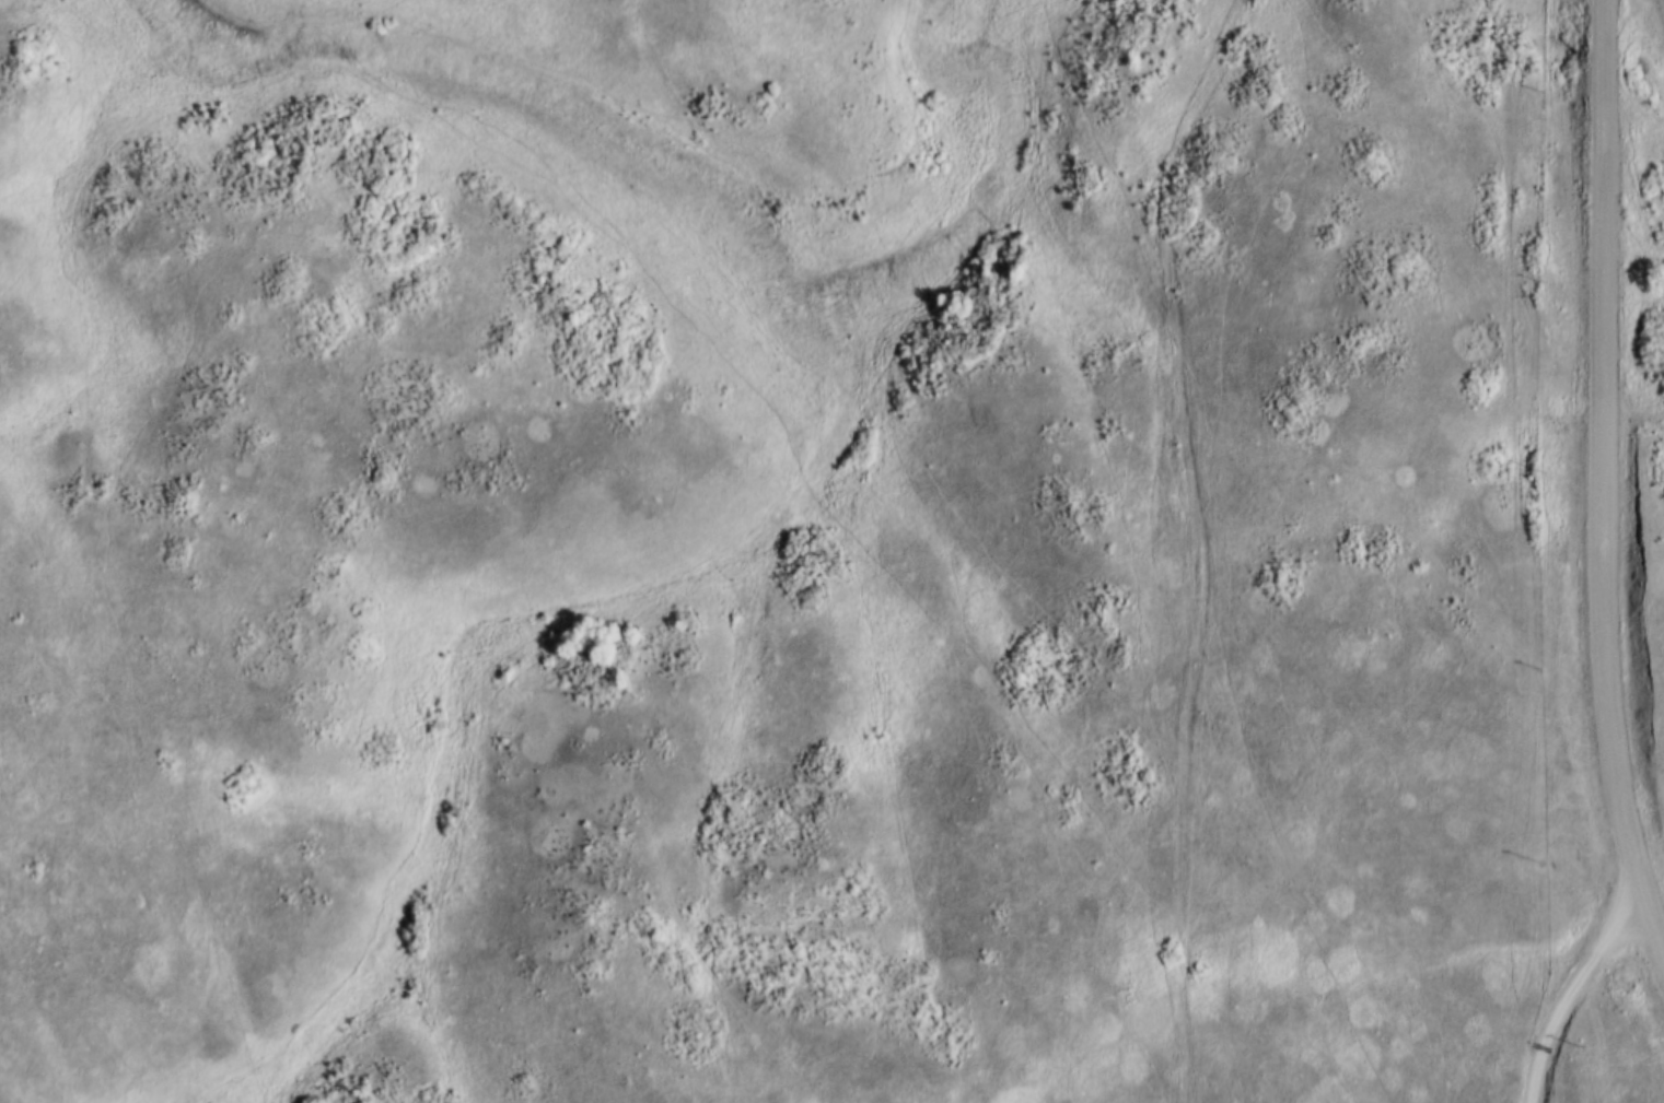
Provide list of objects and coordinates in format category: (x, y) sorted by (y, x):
road: (1603, 477)
road: (1564, 986)

